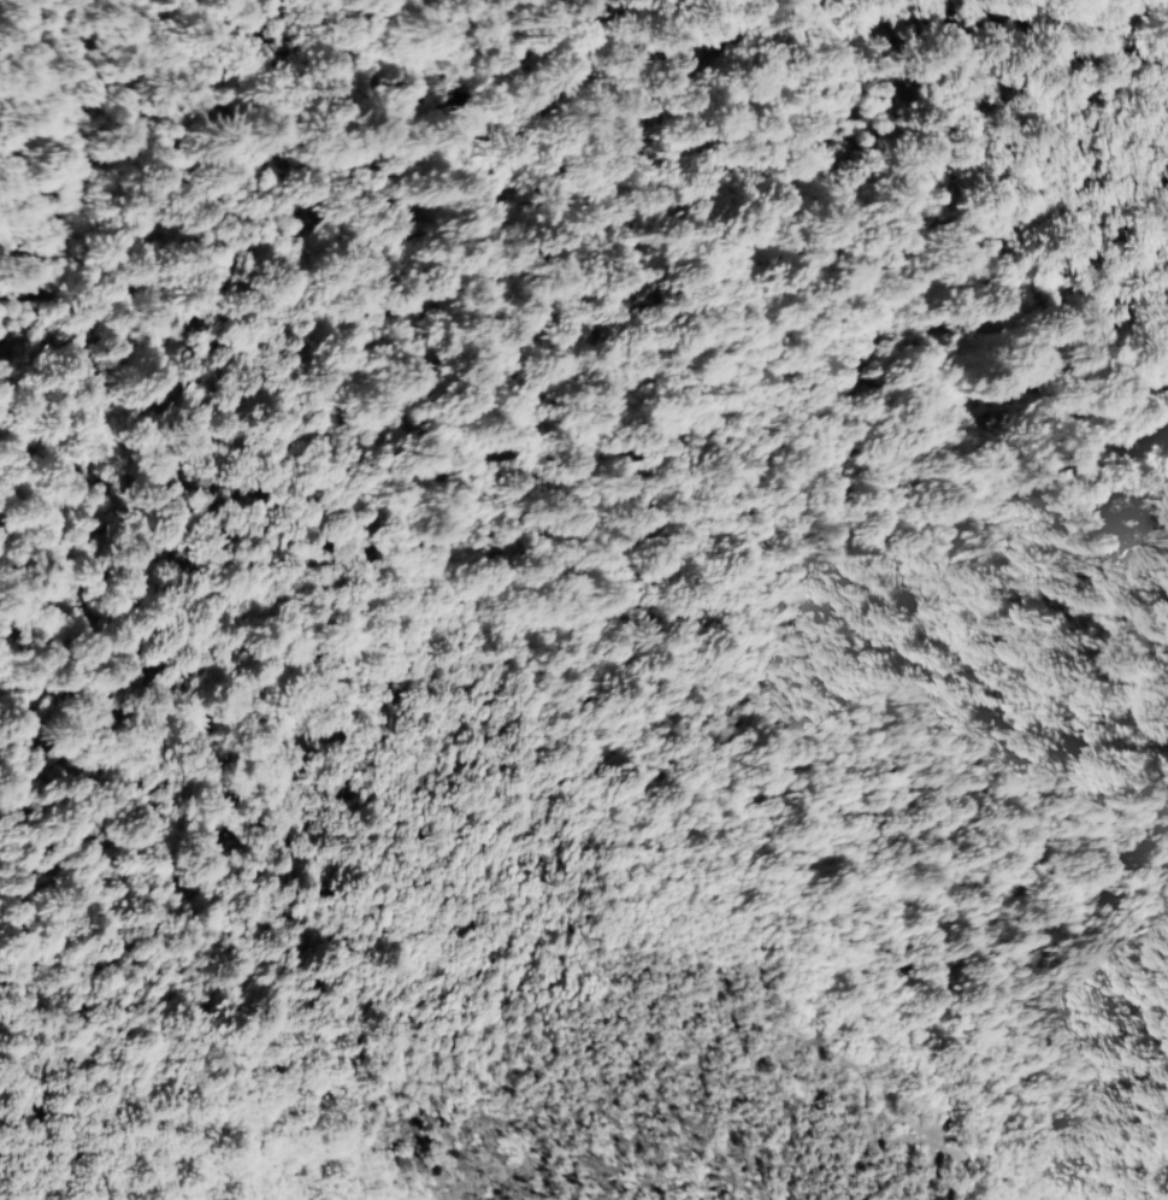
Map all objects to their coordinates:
road: (865, 1102)
building: (939, 1131)

